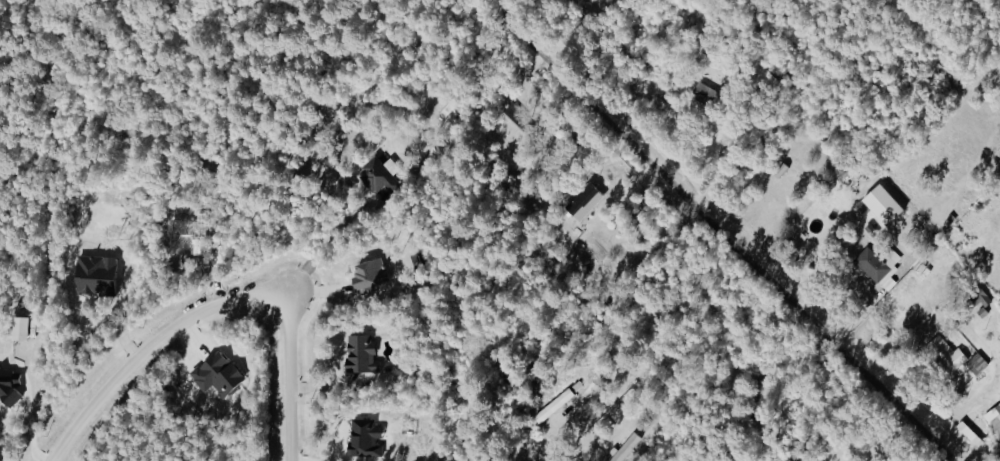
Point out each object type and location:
building: (706, 93)
building: (516, 115)
building: (375, 174)
road: (715, 234)
road: (333, 241)
building: (879, 267)
building: (95, 274)
building: (369, 274)
building: (981, 296)
road: (222, 308)
building: (18, 328)
building: (359, 353)
building: (946, 354)
building: (976, 364)
building: (213, 375)
building: (8, 386)
road: (32, 409)
building: (994, 420)
building: (969, 433)
building: (365, 438)
building: (626, 448)
road: (522, 454)

